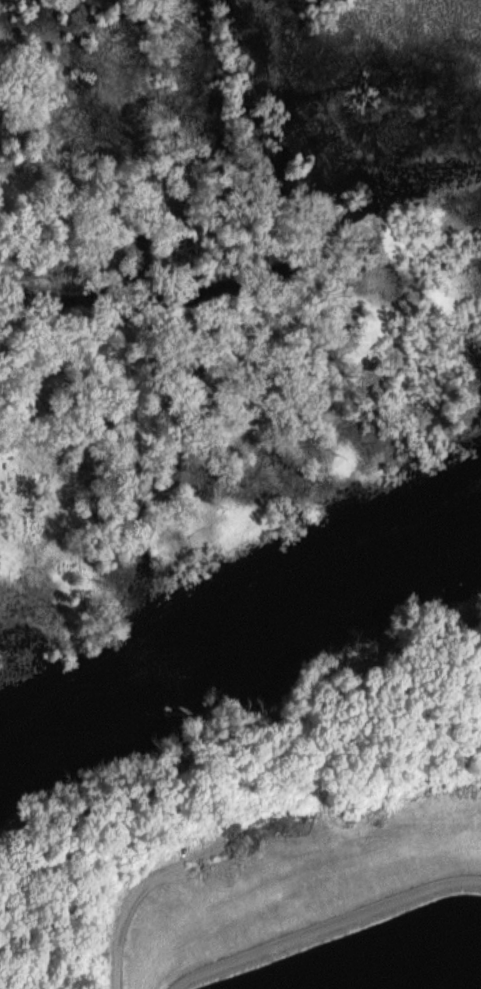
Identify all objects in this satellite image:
river: (234, 615)
road: (142, 894)

